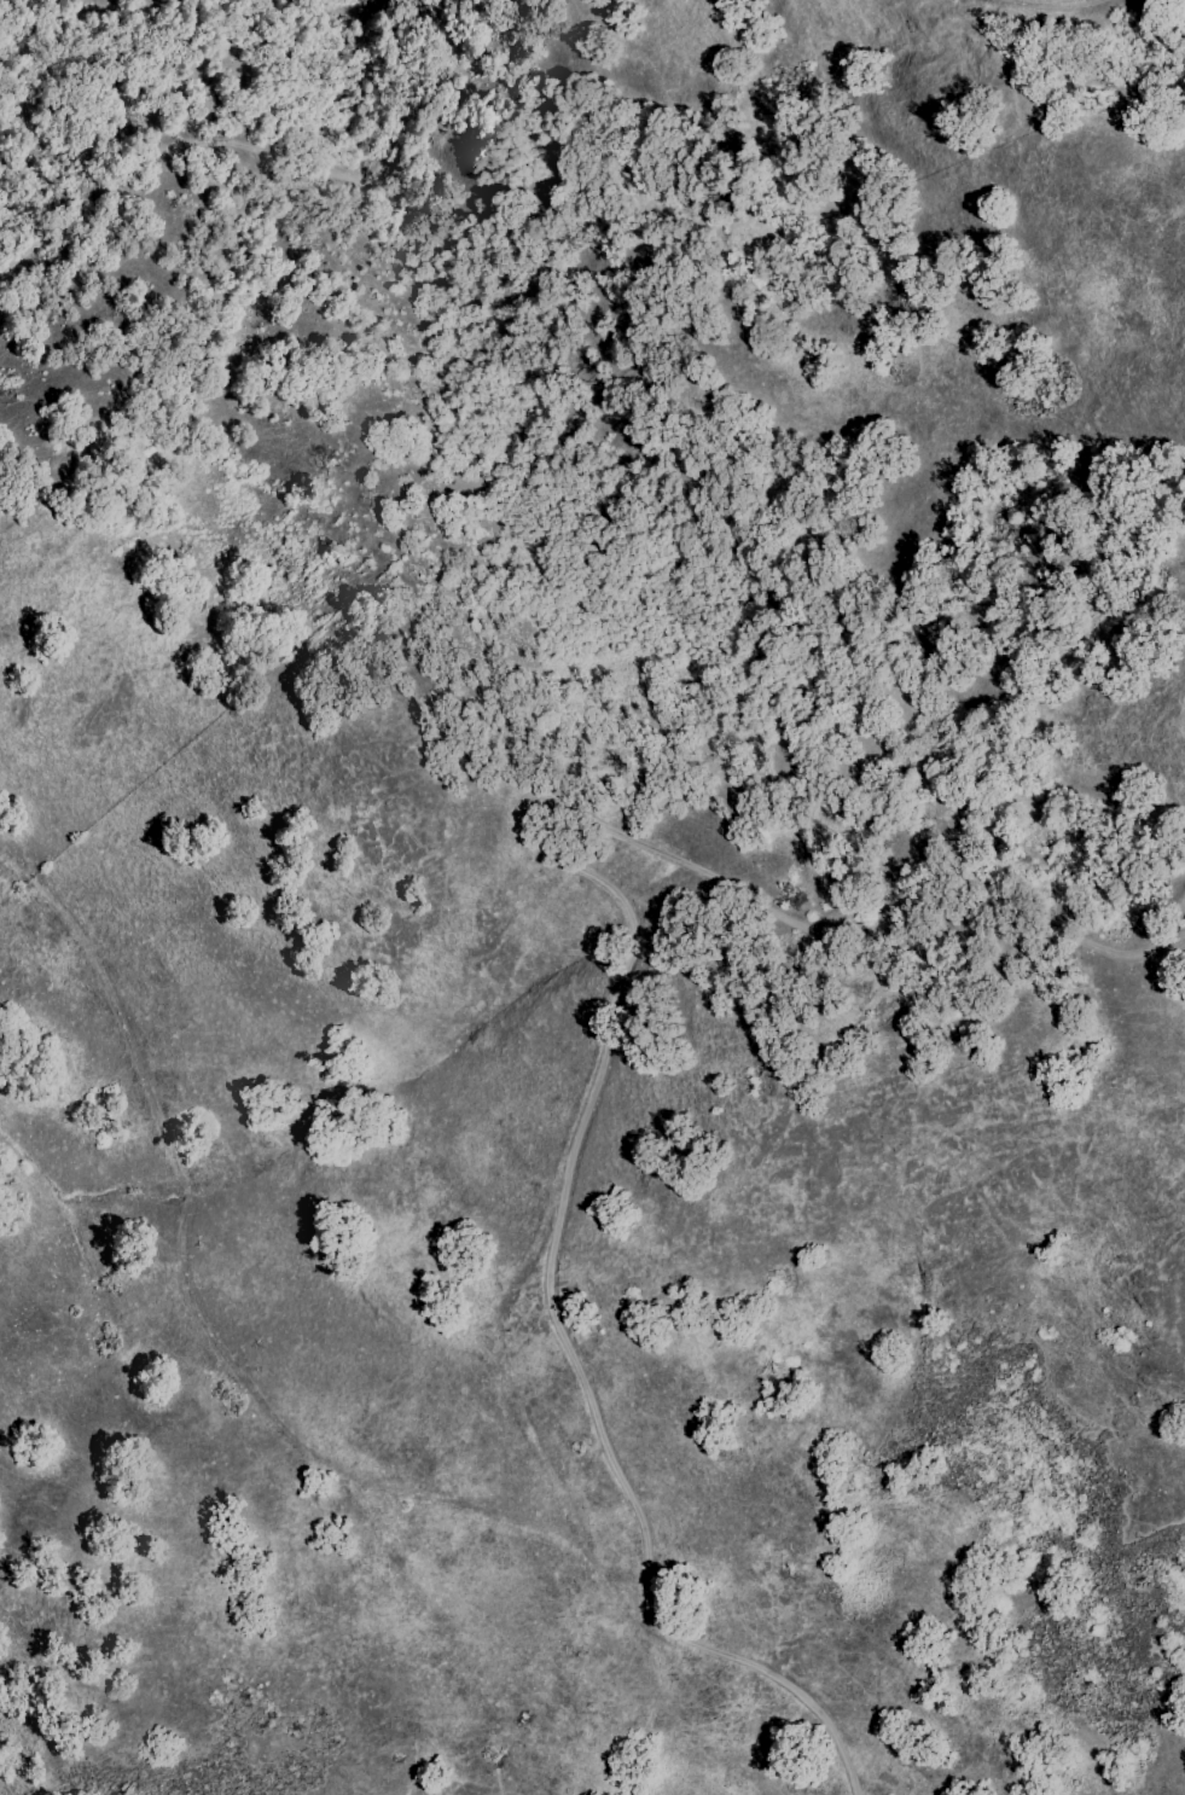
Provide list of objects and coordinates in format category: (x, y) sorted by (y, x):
road: (1041, 8)
road: (272, 161)
road: (612, 968)

